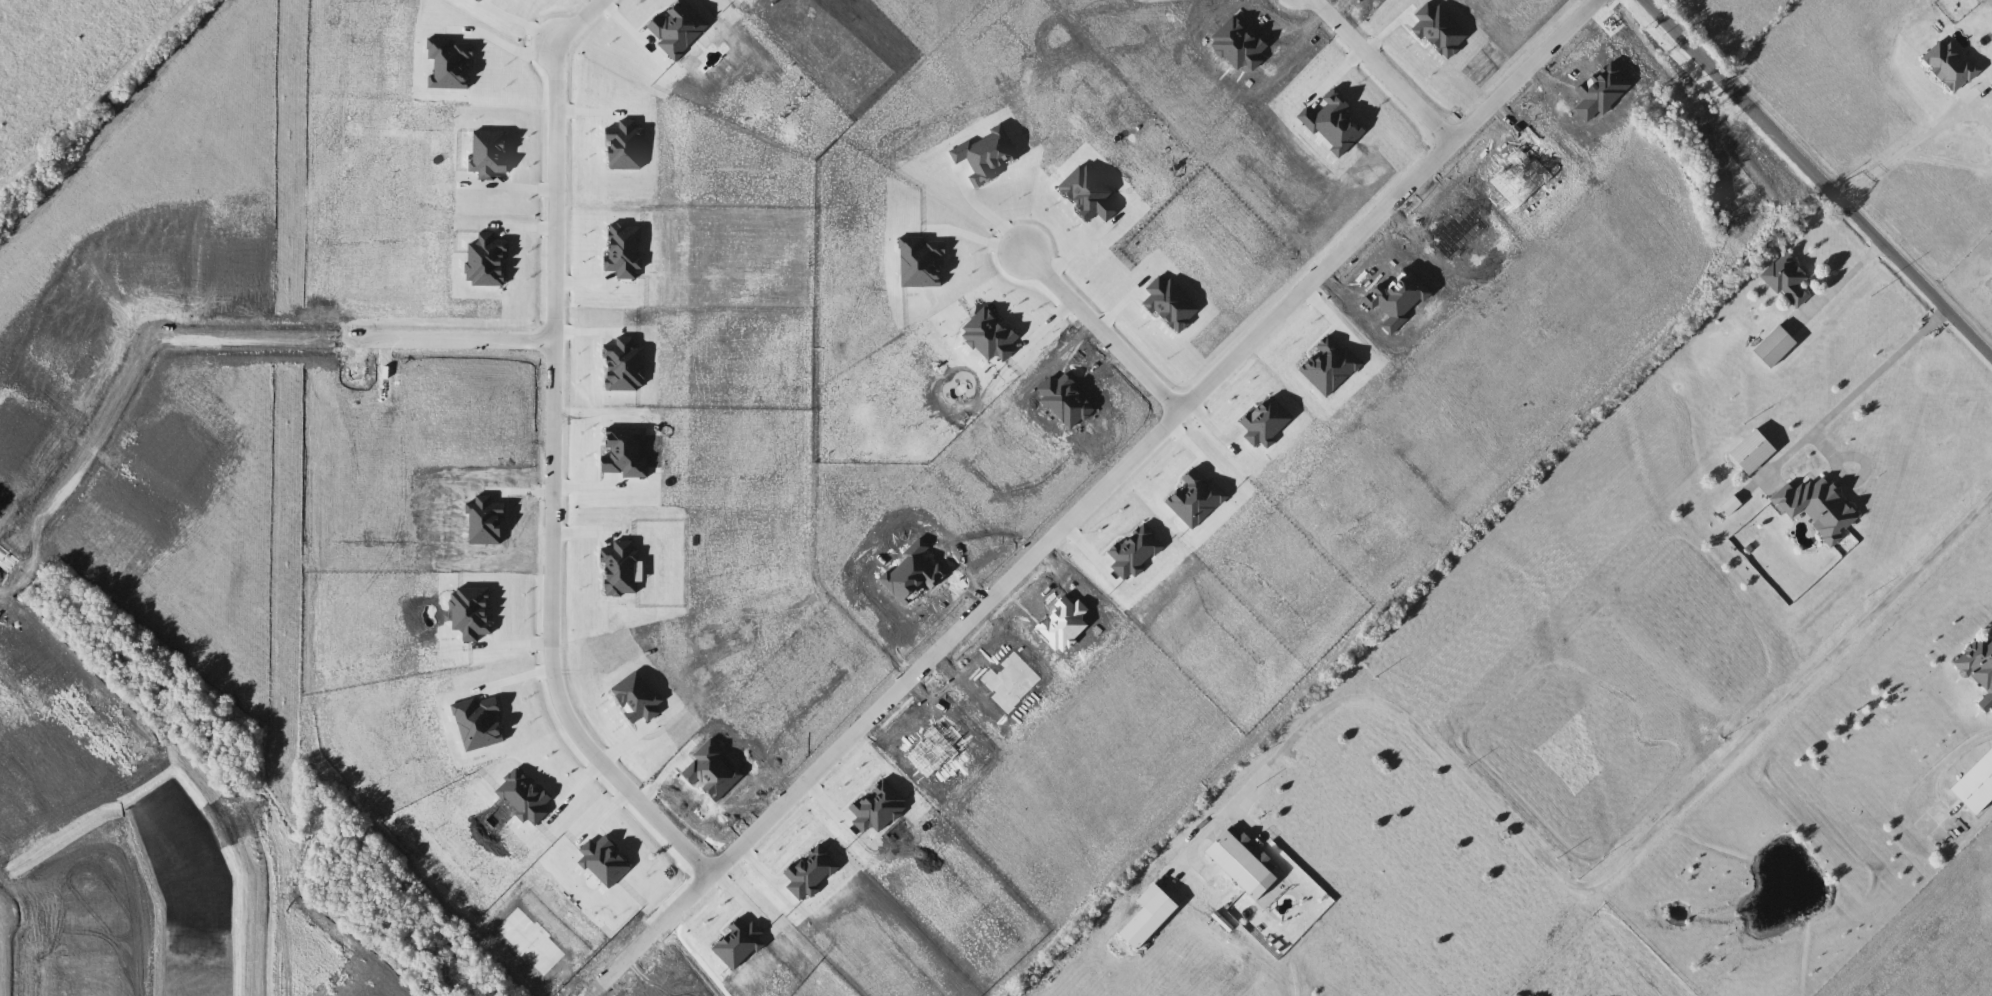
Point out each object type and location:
road: (506, 44)
road: (1396, 66)
road: (1904, 151)
road: (1818, 180)
road: (980, 239)
road: (1845, 278)
building: (1790, 280)
road: (1109, 325)
road: (453, 337)
building: (1777, 347)
road: (1855, 391)
road: (561, 453)
road: (1102, 487)
building: (1820, 509)
building: (1981, 668)
building: (1977, 788)
road: (1625, 859)
building: (1244, 863)
building: (1160, 904)

